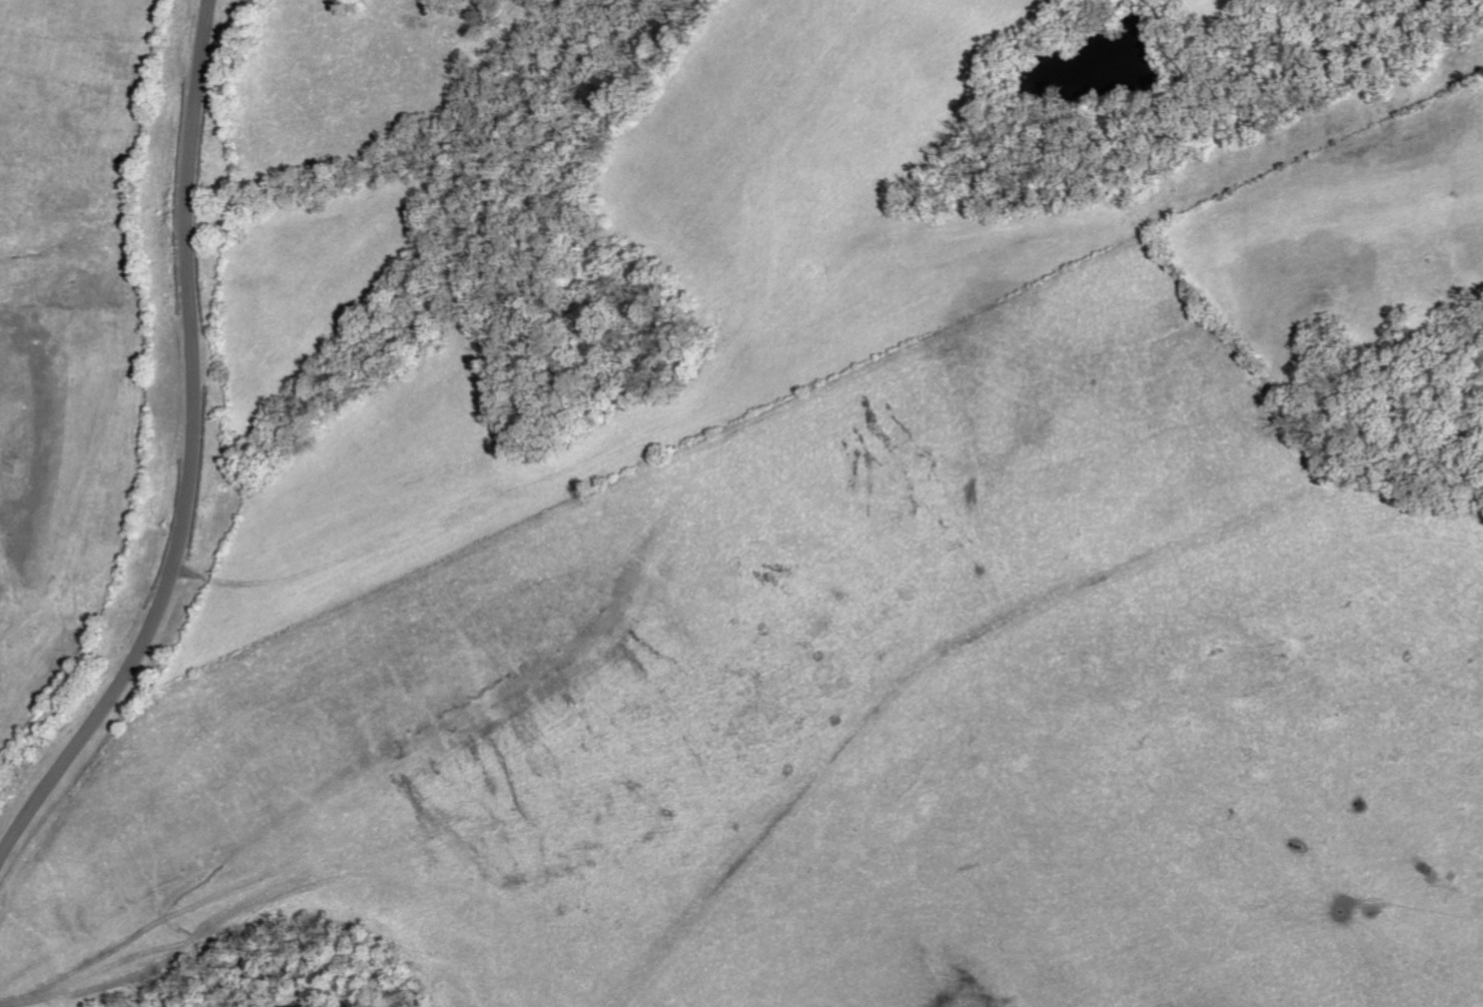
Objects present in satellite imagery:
road: (195, 454)

